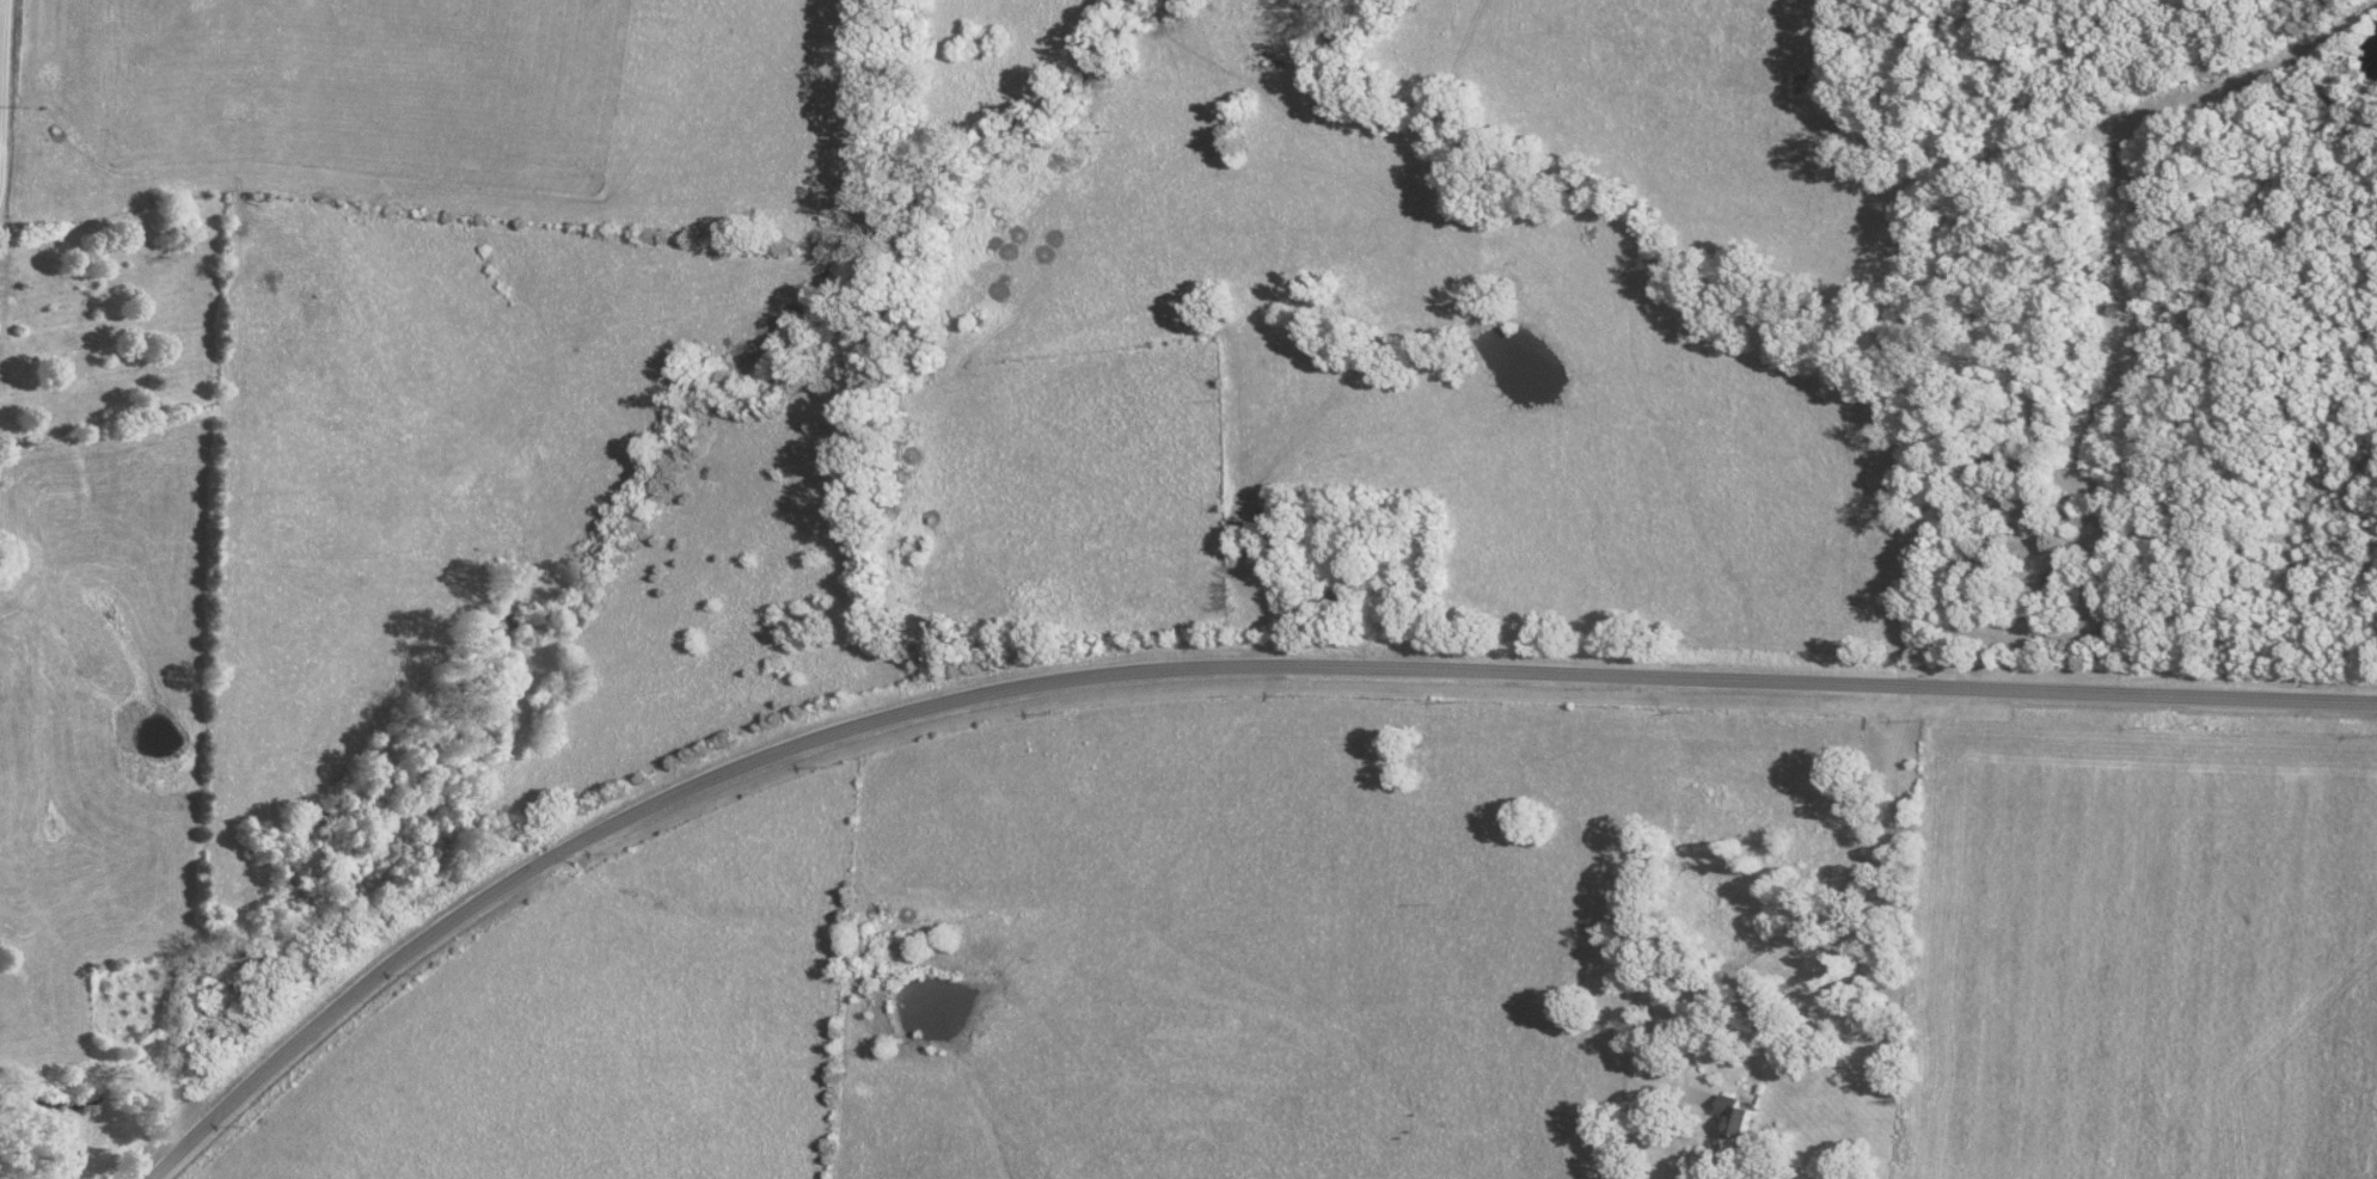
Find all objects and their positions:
road: (2, 45)
road: (2120, 110)
building: (1260, 544)
building: (2053, 582)
building: (1338, 595)
road: (1189, 667)
road: (1856, 883)
building: (1744, 1116)

